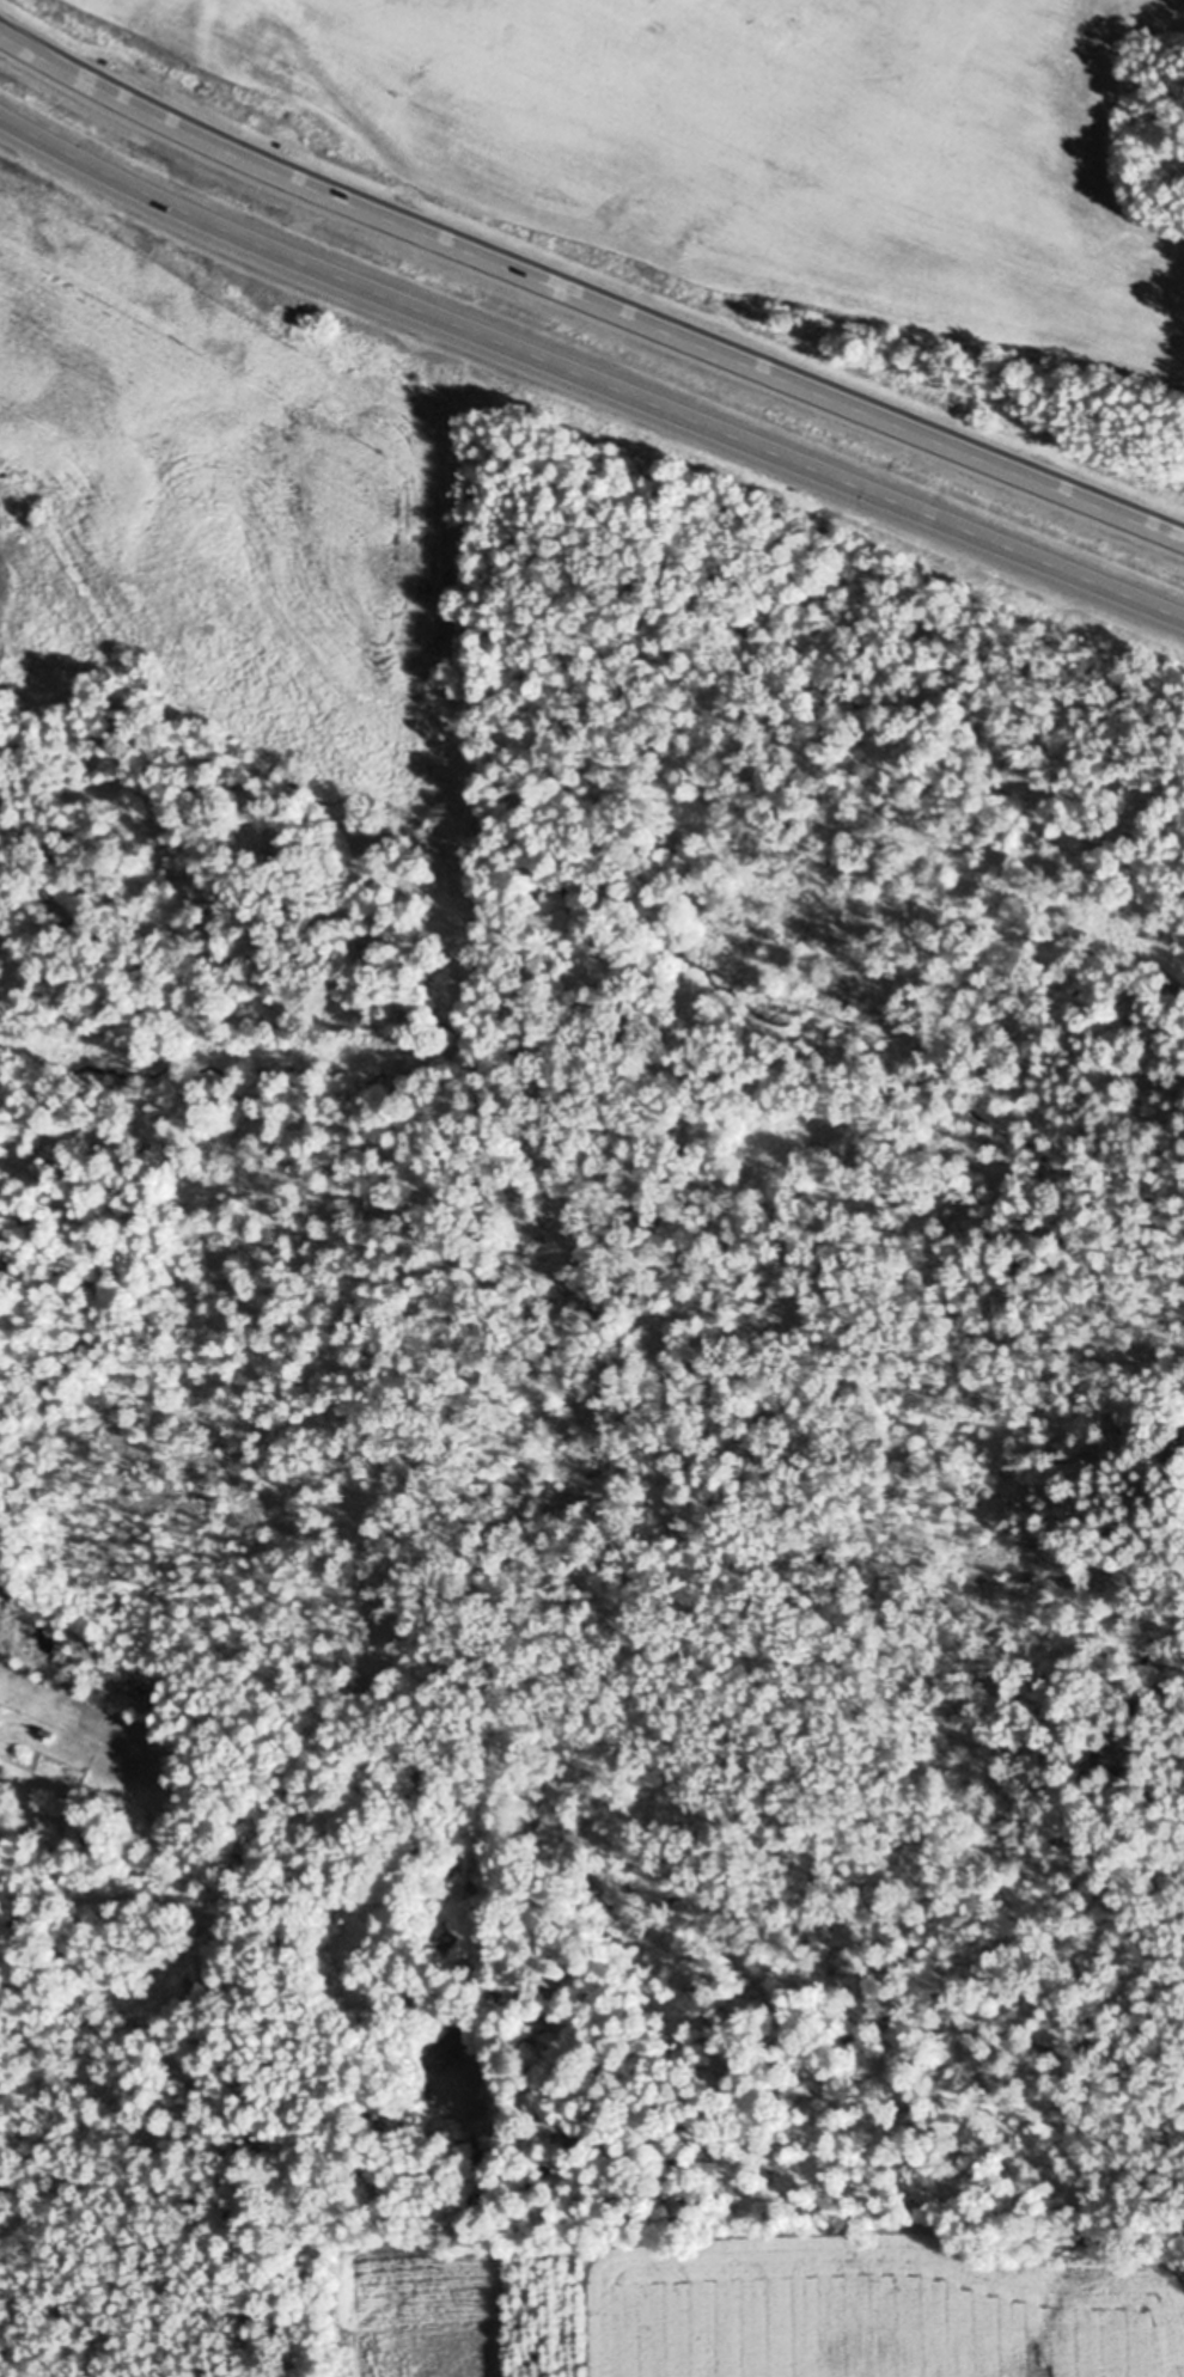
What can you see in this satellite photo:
road: (585, 299)
road: (587, 378)

